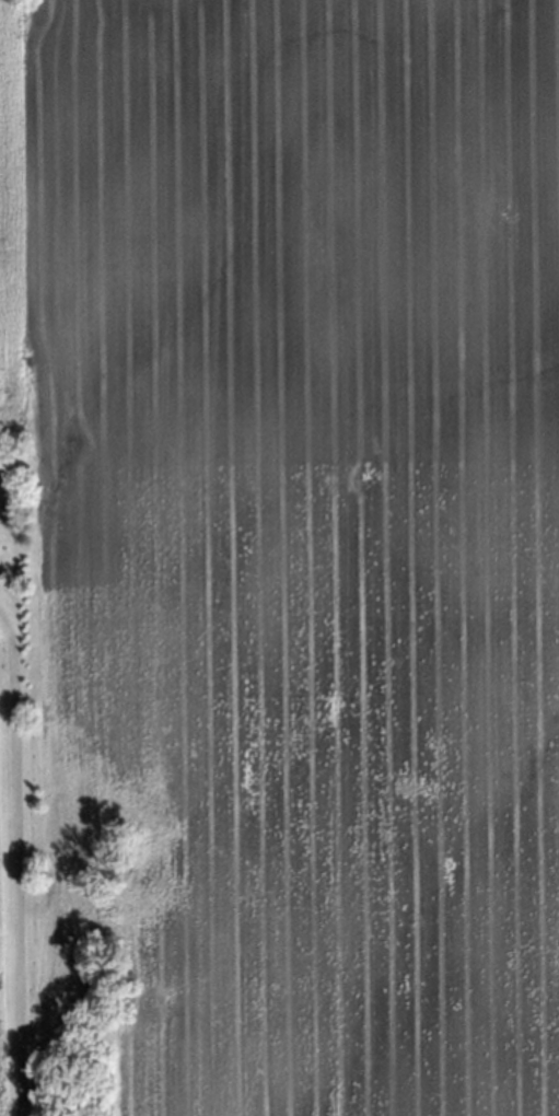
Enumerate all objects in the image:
road: (13, 869)

